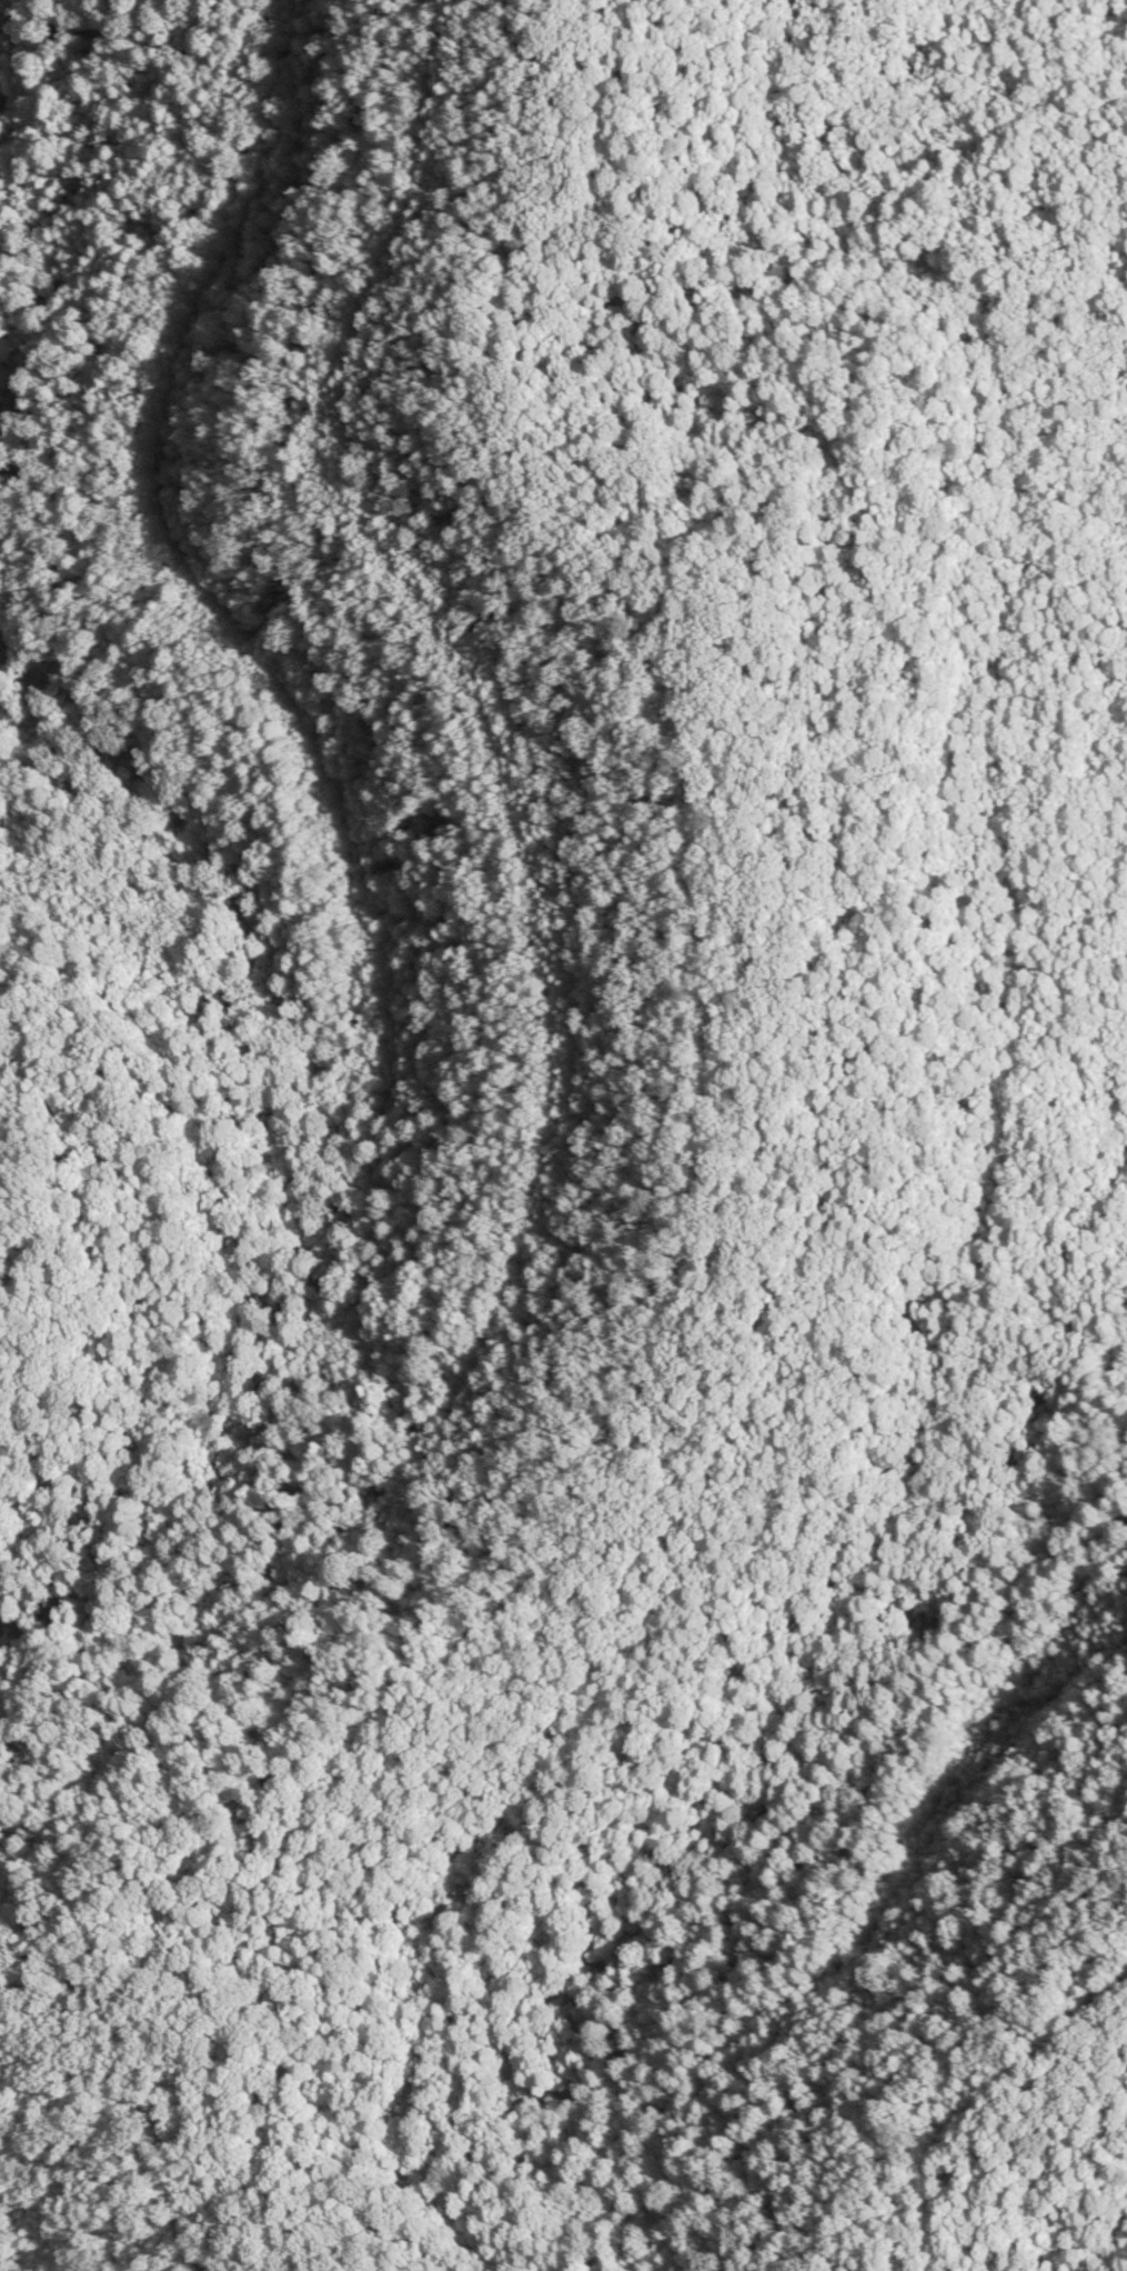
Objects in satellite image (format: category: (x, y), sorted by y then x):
road: (1006, 2091)
road: (131, 2130)

